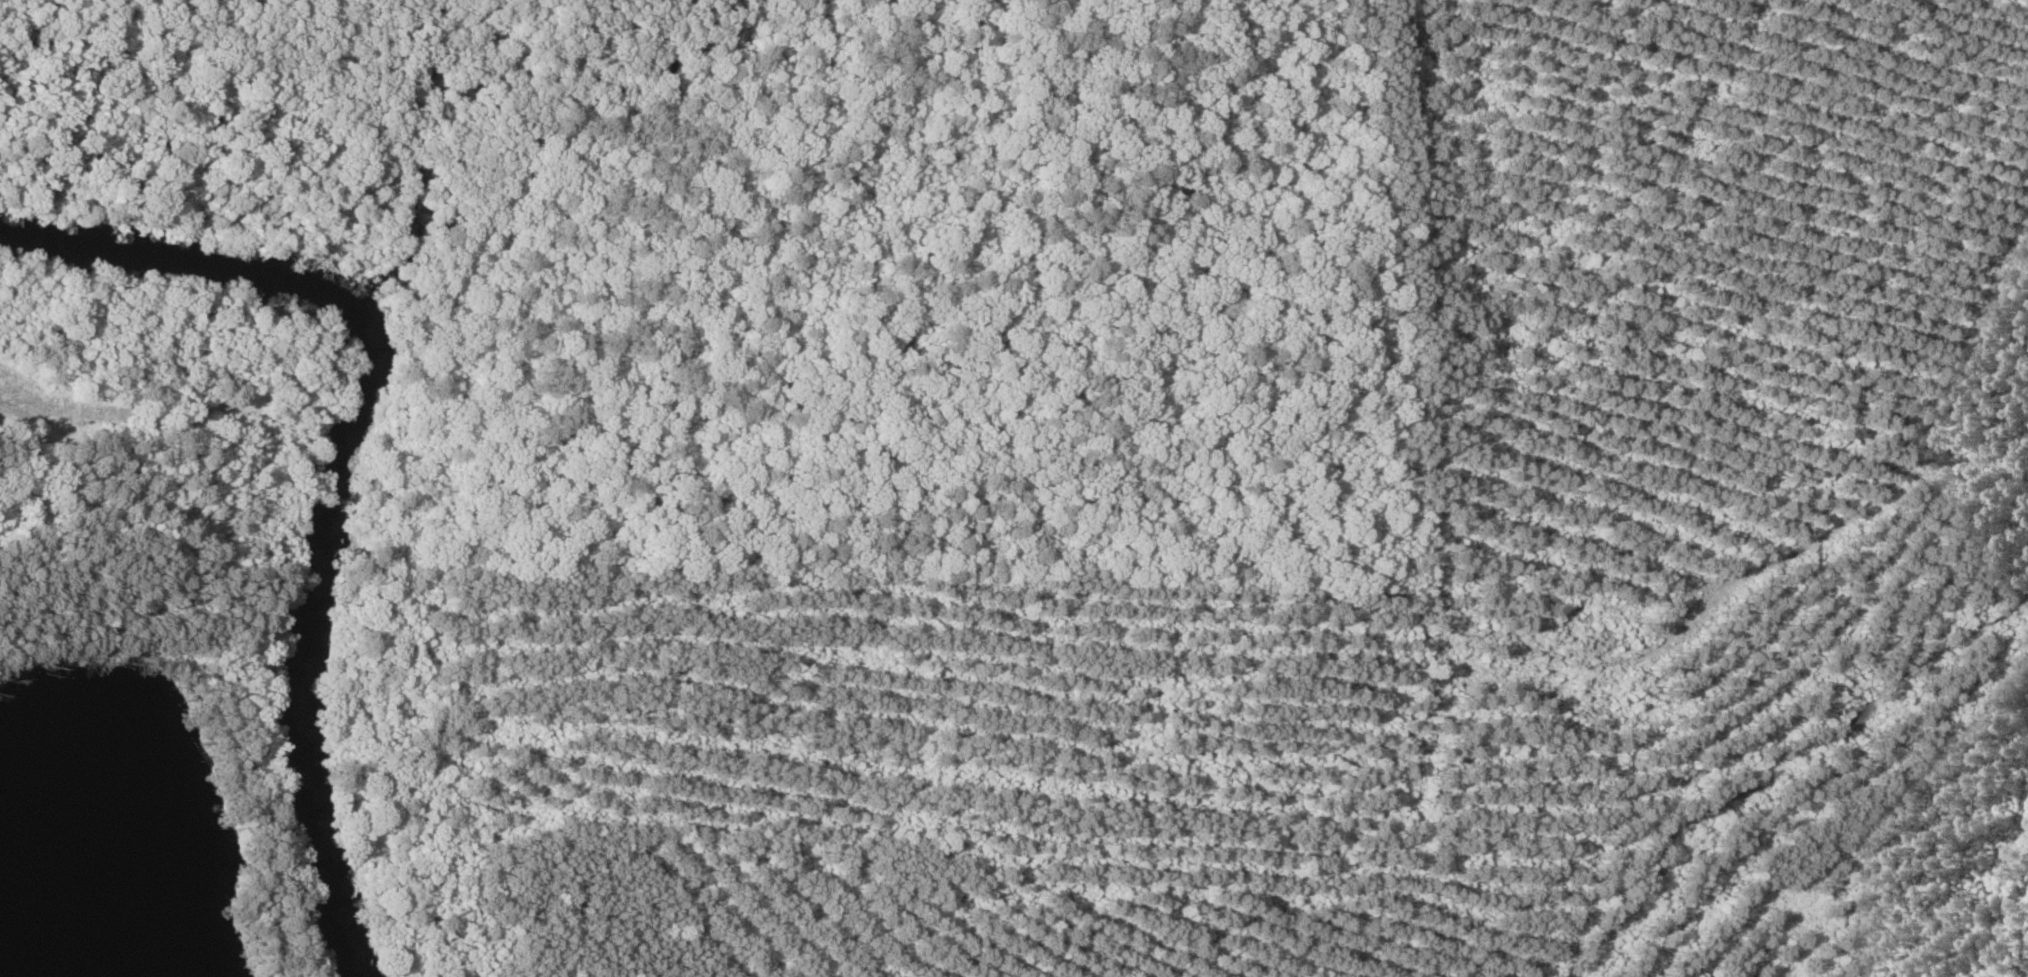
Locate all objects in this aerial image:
river: (182, 260)
river: (306, 647)
road: (200, 679)

